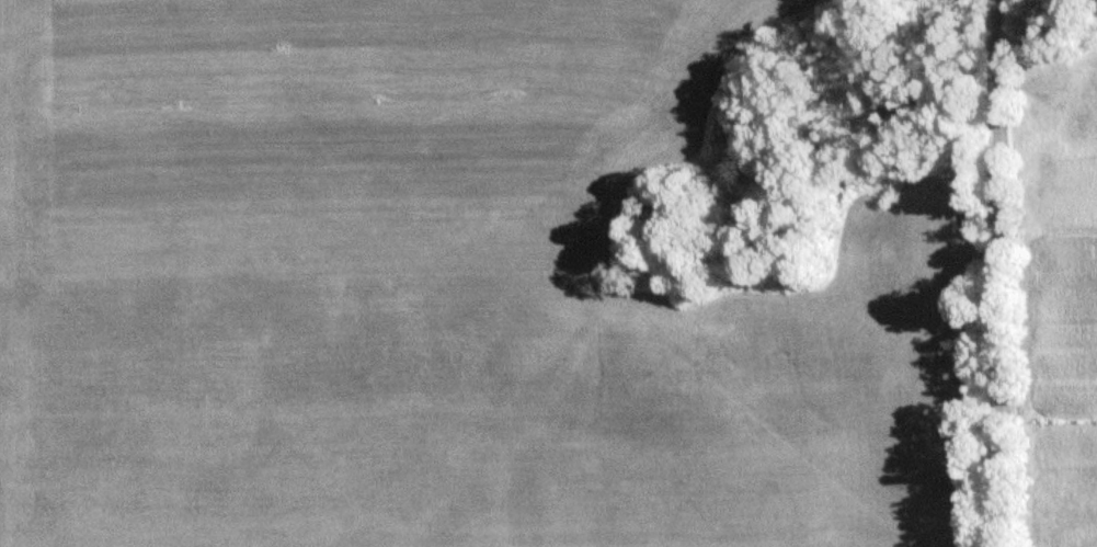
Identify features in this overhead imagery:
road: (987, 273)

